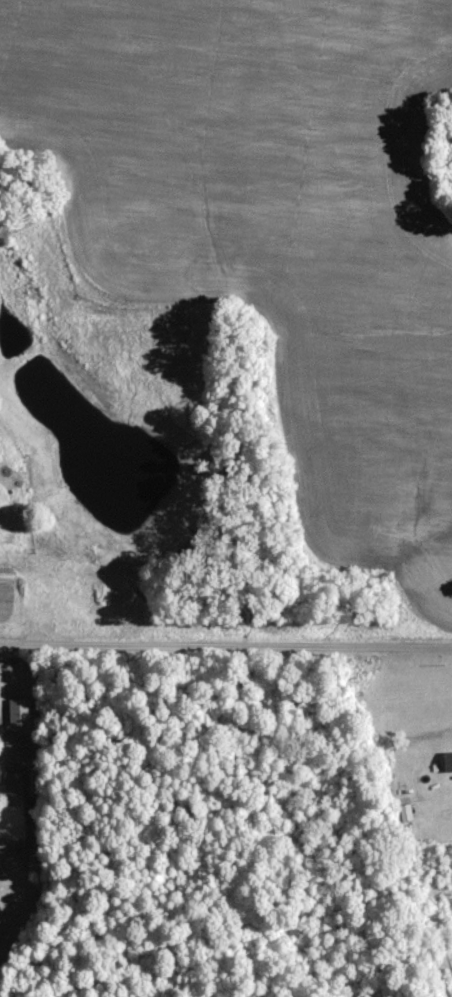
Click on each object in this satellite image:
road: (226, 651)
building: (22, 712)
road: (3, 739)
building: (450, 762)
building: (1, 773)
building: (16, 785)

